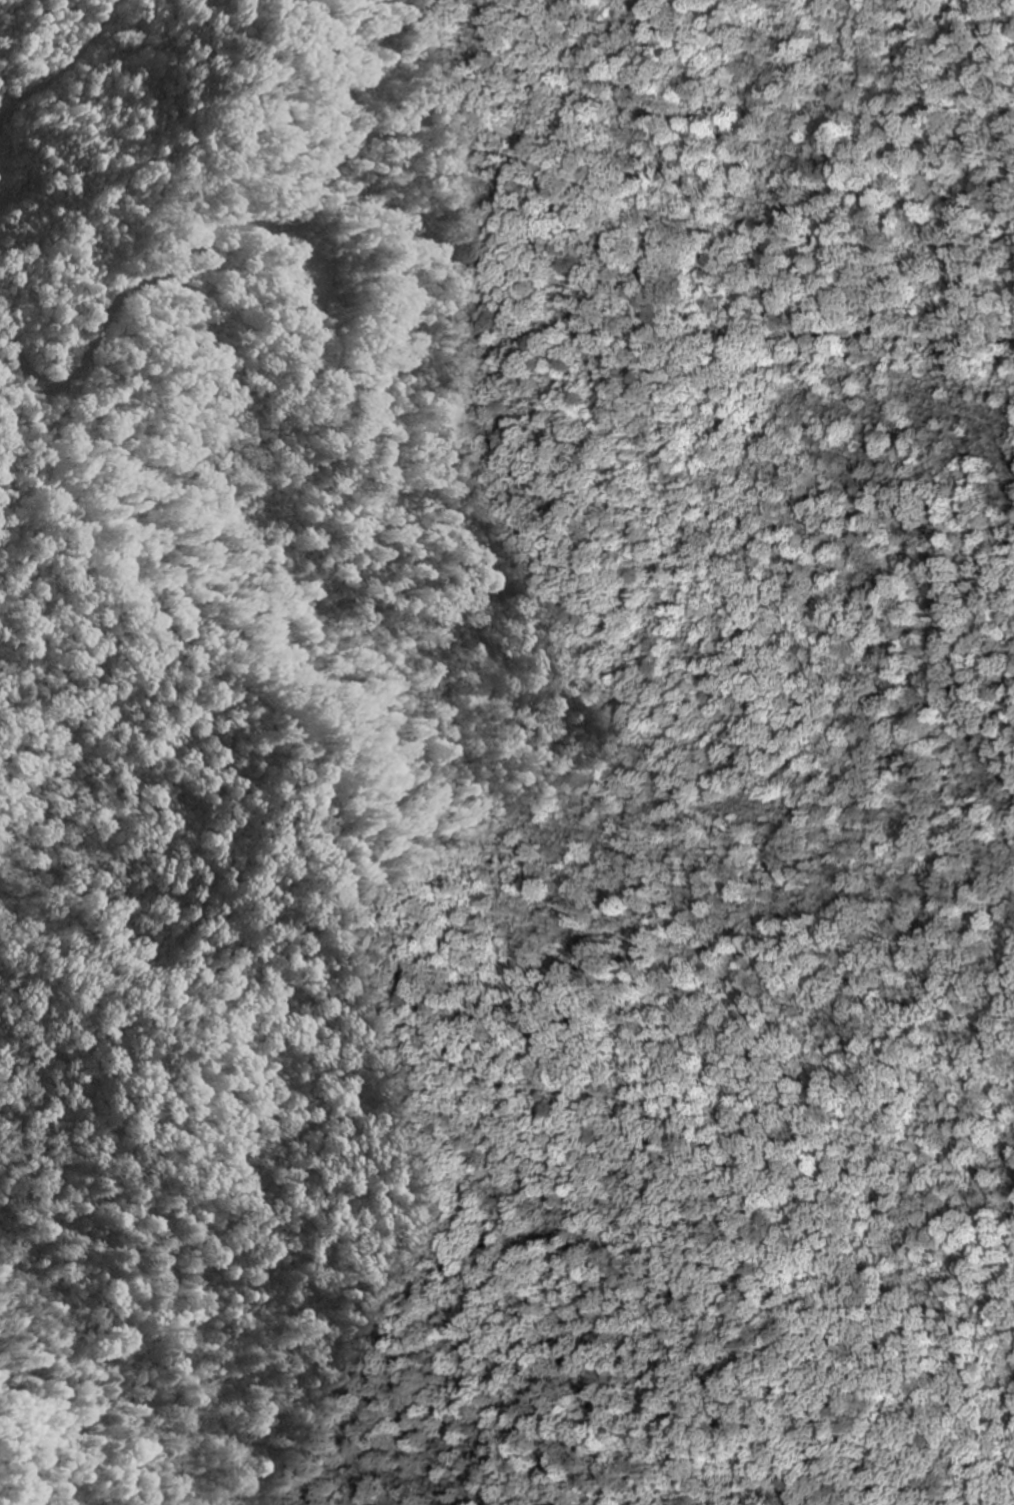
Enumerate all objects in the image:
road: (336, 63)
road: (166, 270)
road: (660, 283)
road: (946, 594)

